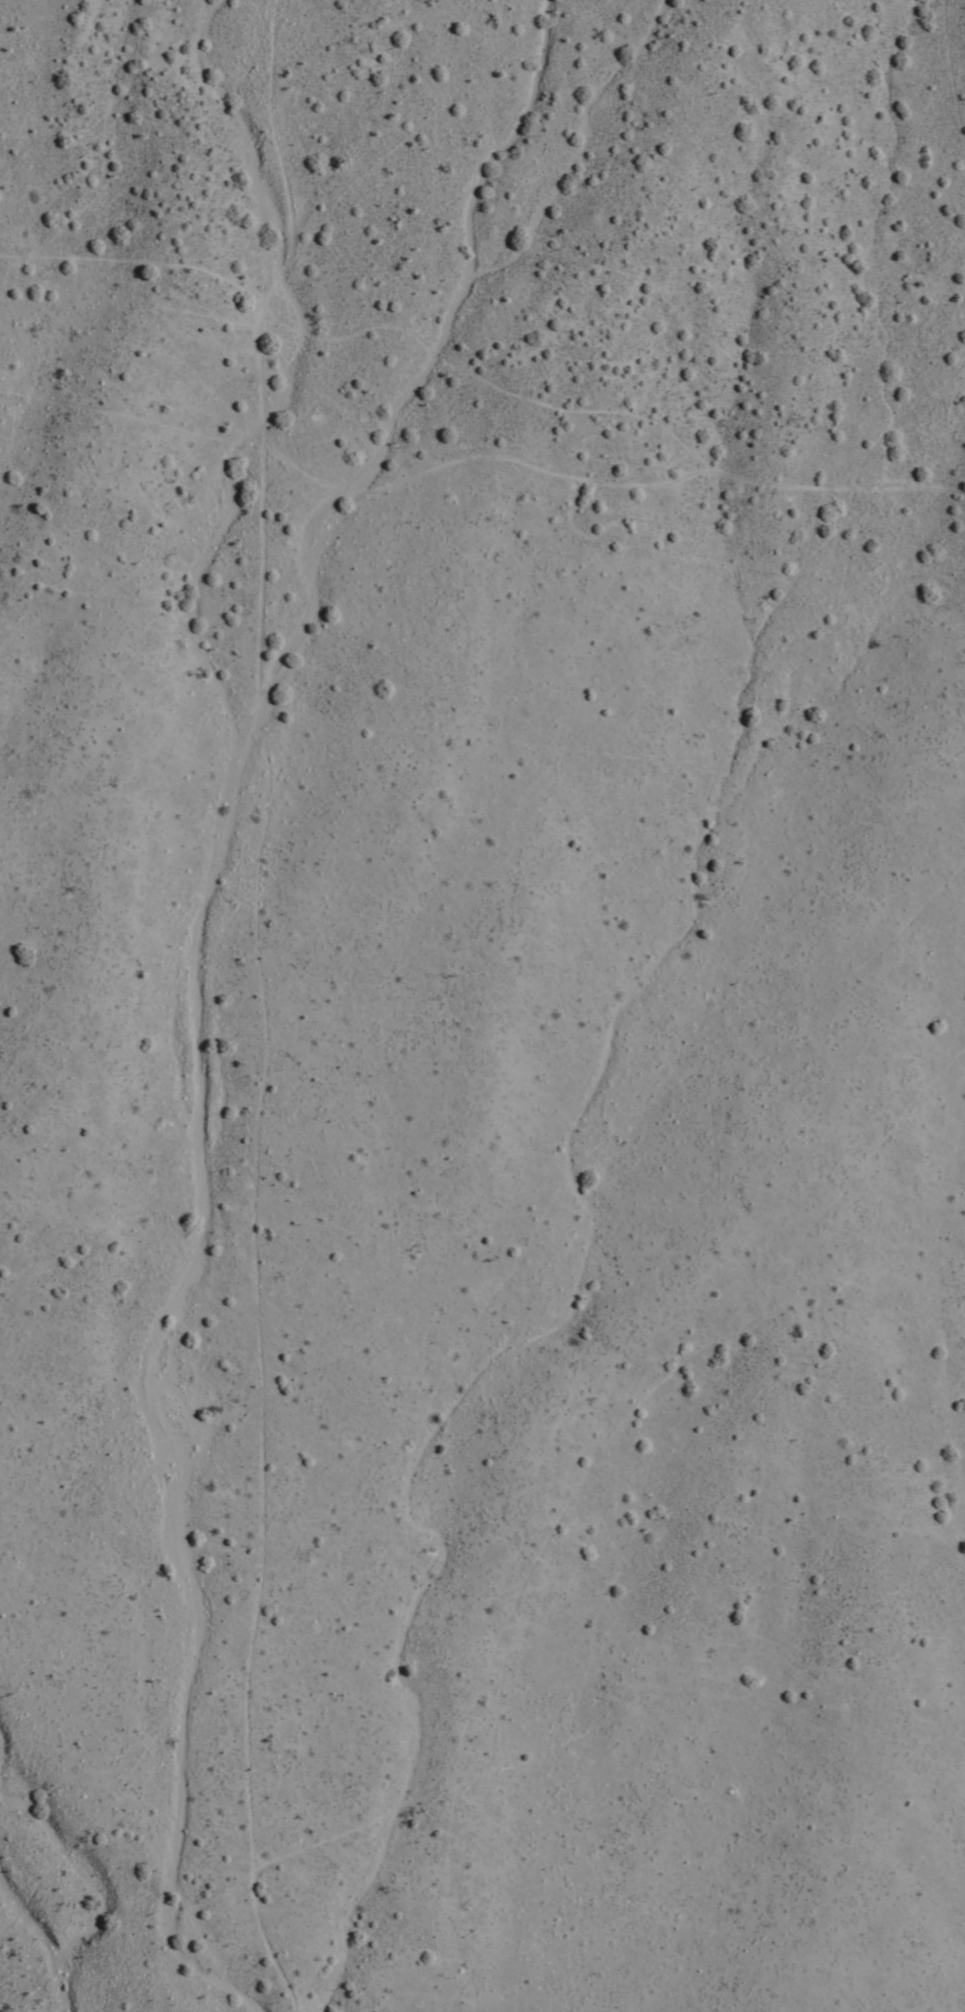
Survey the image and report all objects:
road: (613, 1736)

